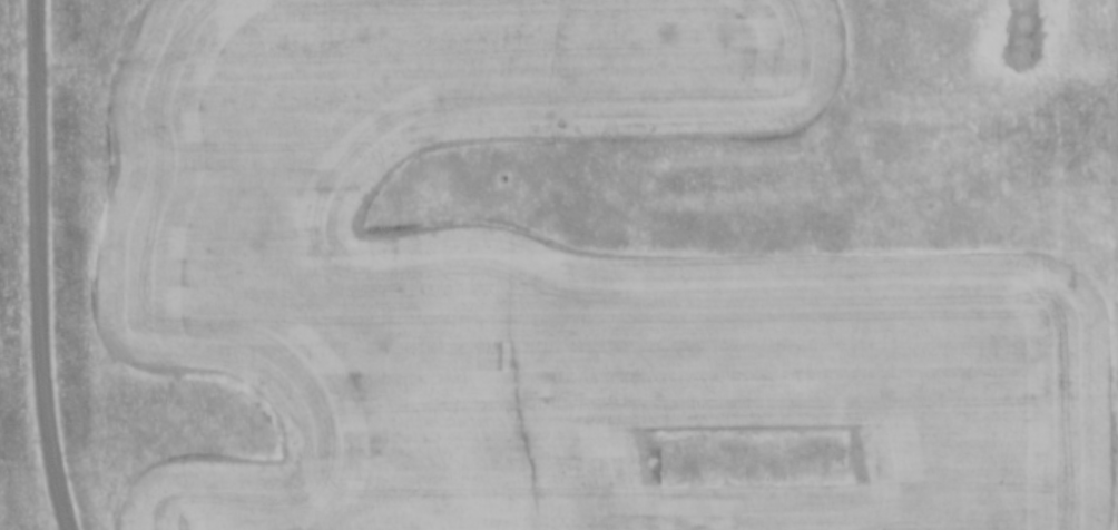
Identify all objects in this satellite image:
road: (40, 266)

